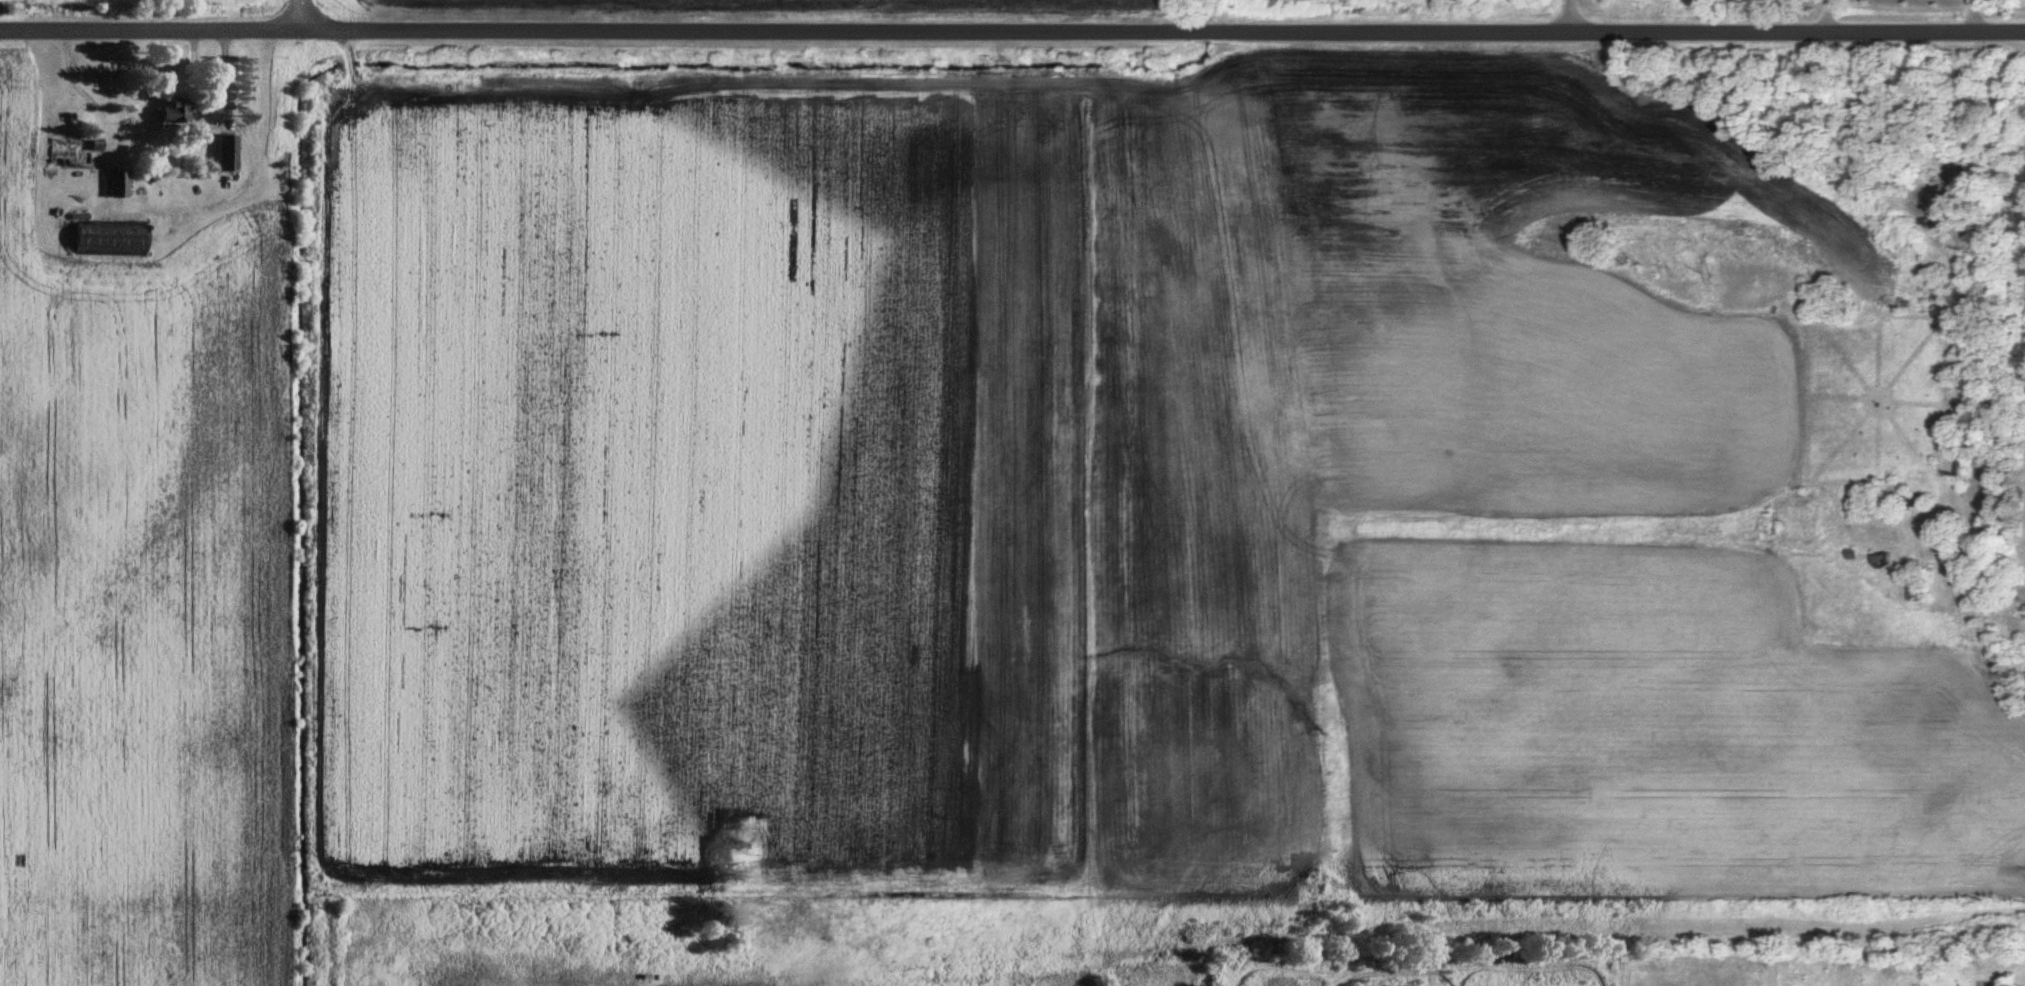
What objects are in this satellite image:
road: (297, 17)
road: (1826, 18)
road: (1564, 19)
road: (1012, 37)
building: (174, 112)
building: (226, 154)
building: (117, 186)
building: (1954, 414)
building: (1957, 462)

